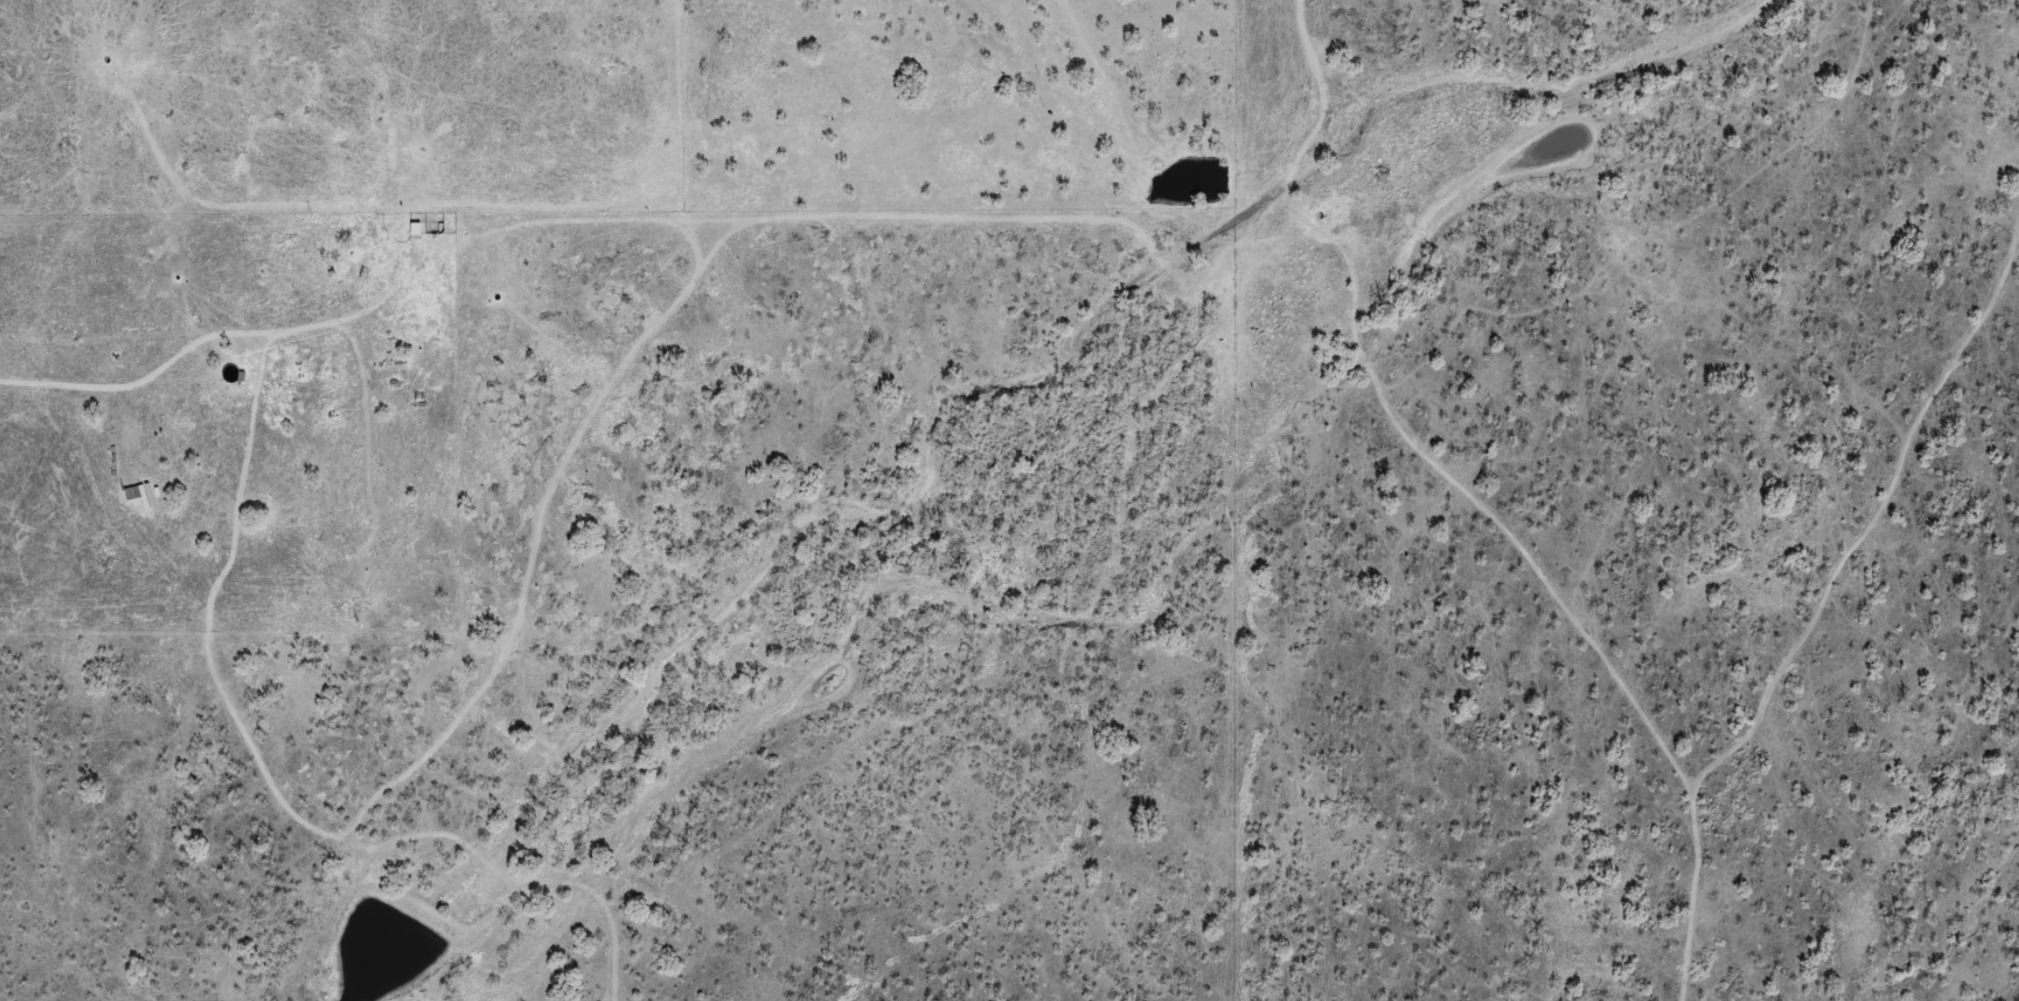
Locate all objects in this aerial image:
building: (306, 289)
road: (329, 334)
road: (65, 337)
building: (218, 408)
building: (359, 543)

